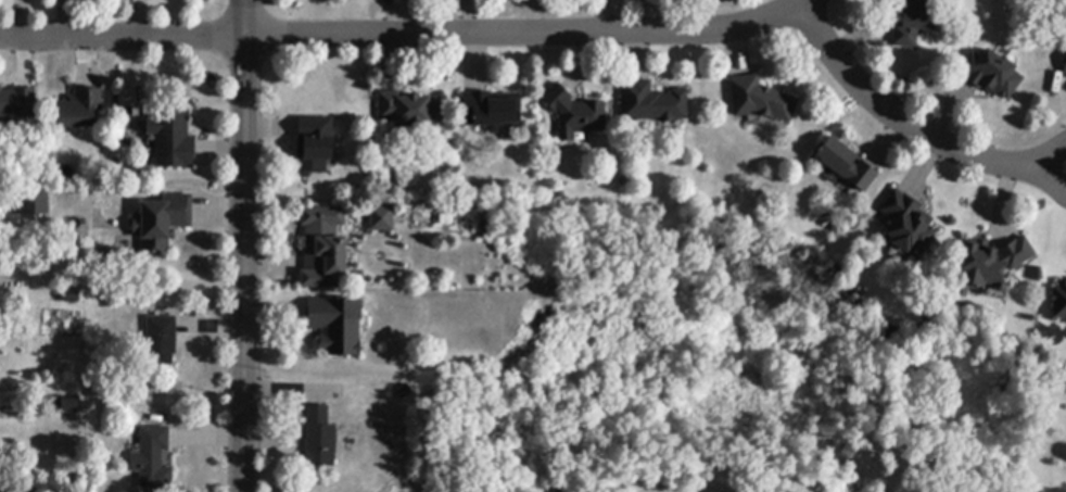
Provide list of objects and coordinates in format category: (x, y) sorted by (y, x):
building: (914, 23)
road: (405, 36)
building: (1065, 72)
building: (991, 74)
building: (760, 100)
building: (16, 101)
building: (651, 103)
building: (80, 109)
building: (409, 111)
building: (491, 111)
building: (575, 113)
road: (900, 121)
building: (173, 139)
building: (315, 146)
building: (846, 164)
road: (1049, 167)
building: (33, 203)
building: (382, 219)
building: (163, 222)
building: (908, 224)
road: (242, 245)
building: (322, 248)
building: (989, 264)
building: (72, 298)
building: (1059, 302)
building: (337, 326)
building: (161, 341)
building: (71, 404)
building: (320, 439)
building: (152, 459)

